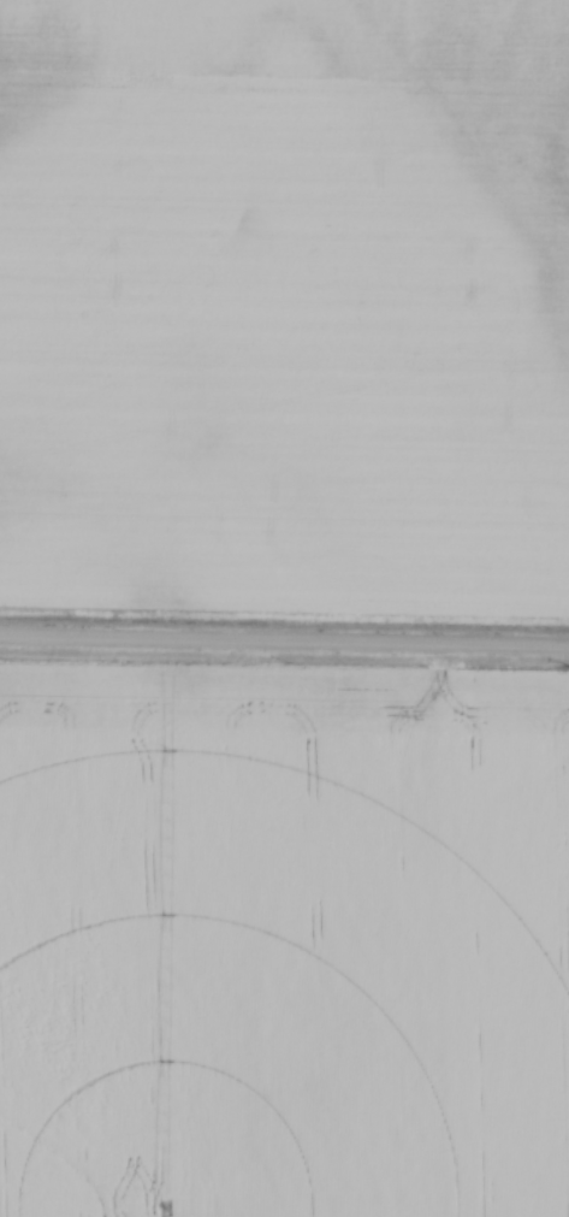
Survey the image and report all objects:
road: (284, 644)

